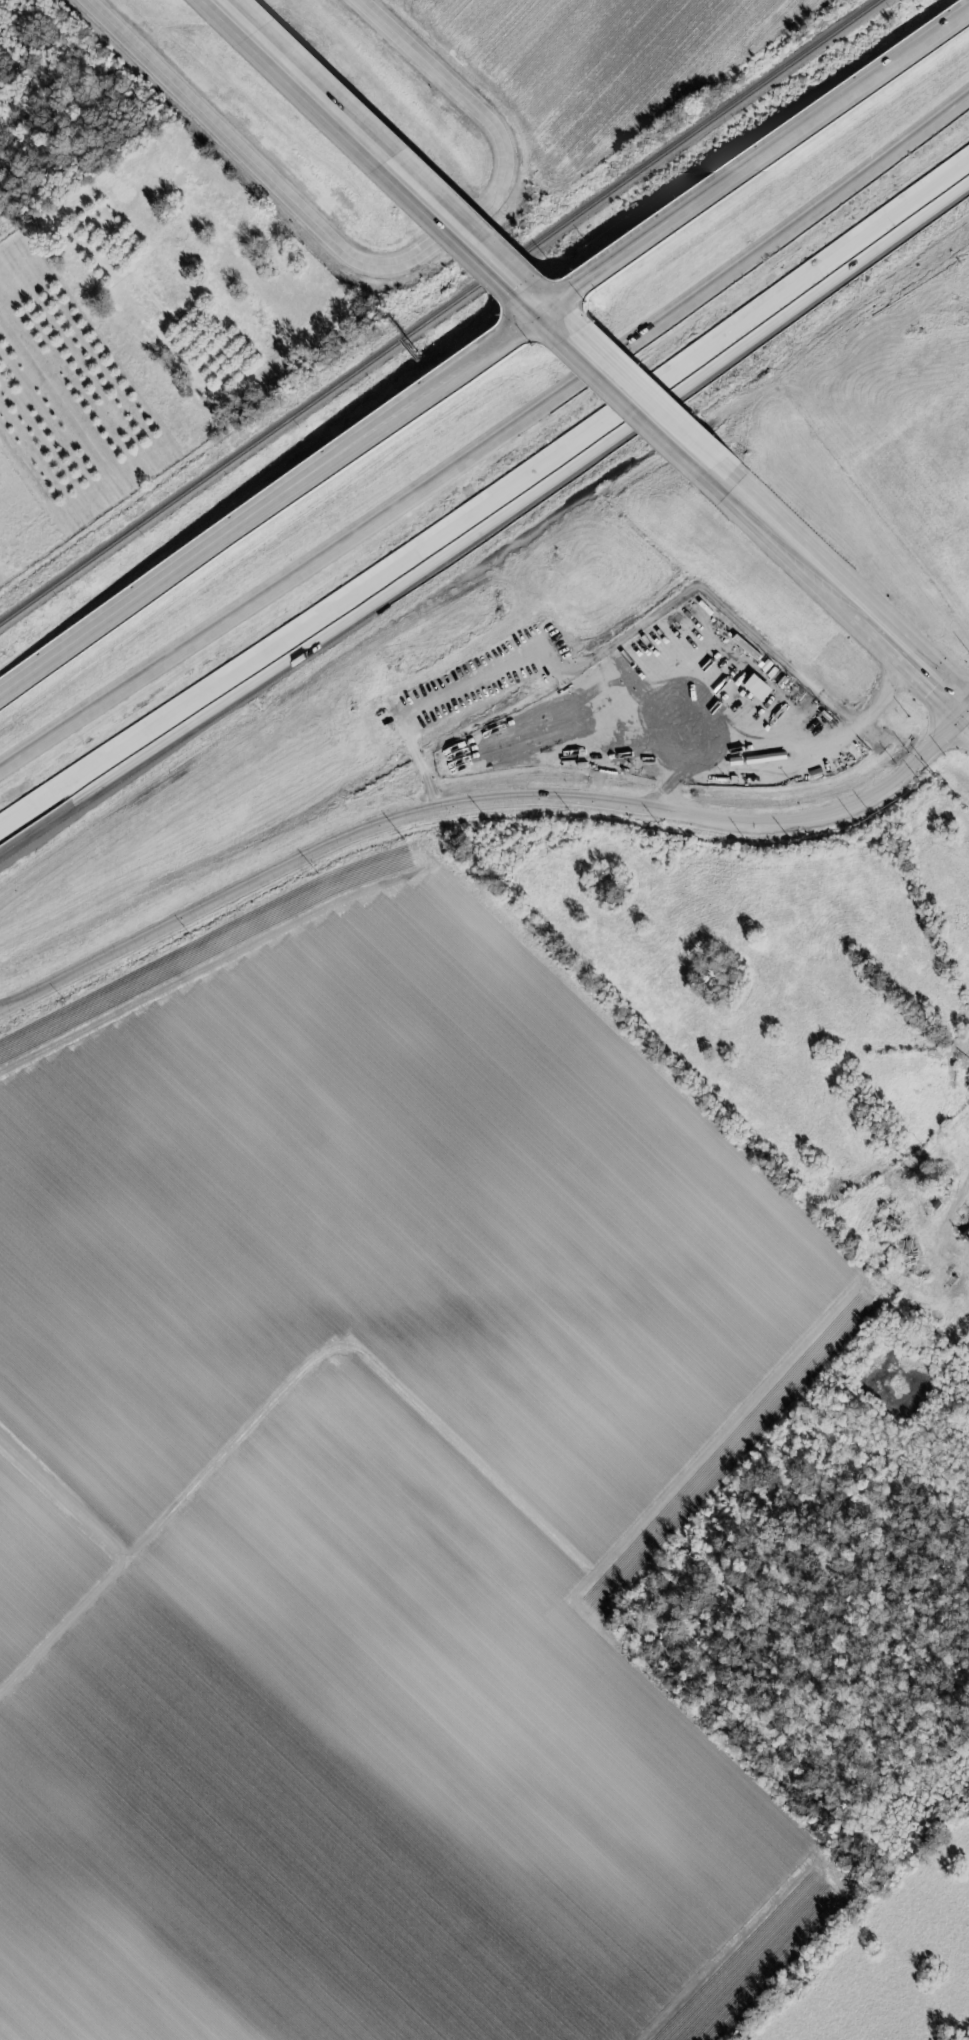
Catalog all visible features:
road: (361, 149)
road: (753, 164)
road: (378, 268)
railway: (440, 312)
road: (540, 319)
road: (633, 408)
road: (484, 424)
road: (487, 501)
road: (268, 505)
road: (835, 595)
building: (748, 648)
road: (968, 716)
road: (783, 743)
road: (480, 806)
road: (76, 962)
road: (0, 1013)
road: (958, 1194)

